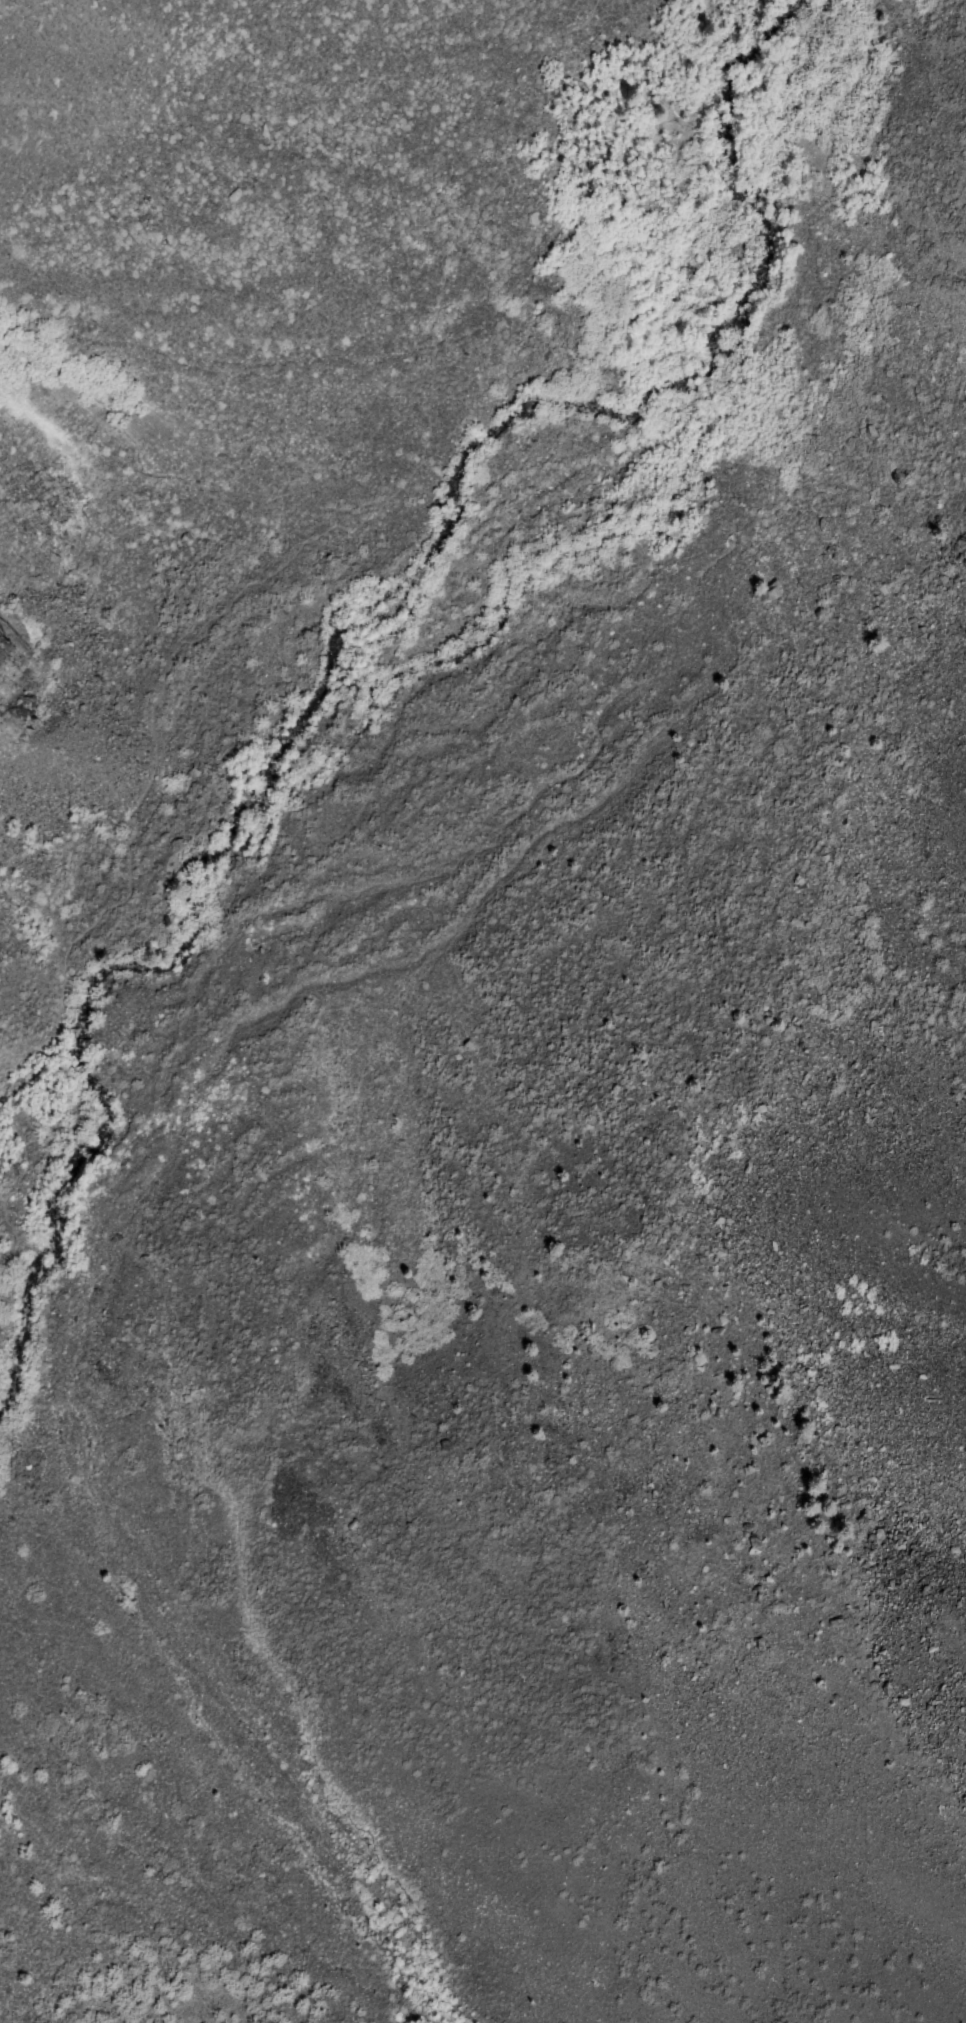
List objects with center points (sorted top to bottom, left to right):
road: (239, 590)

